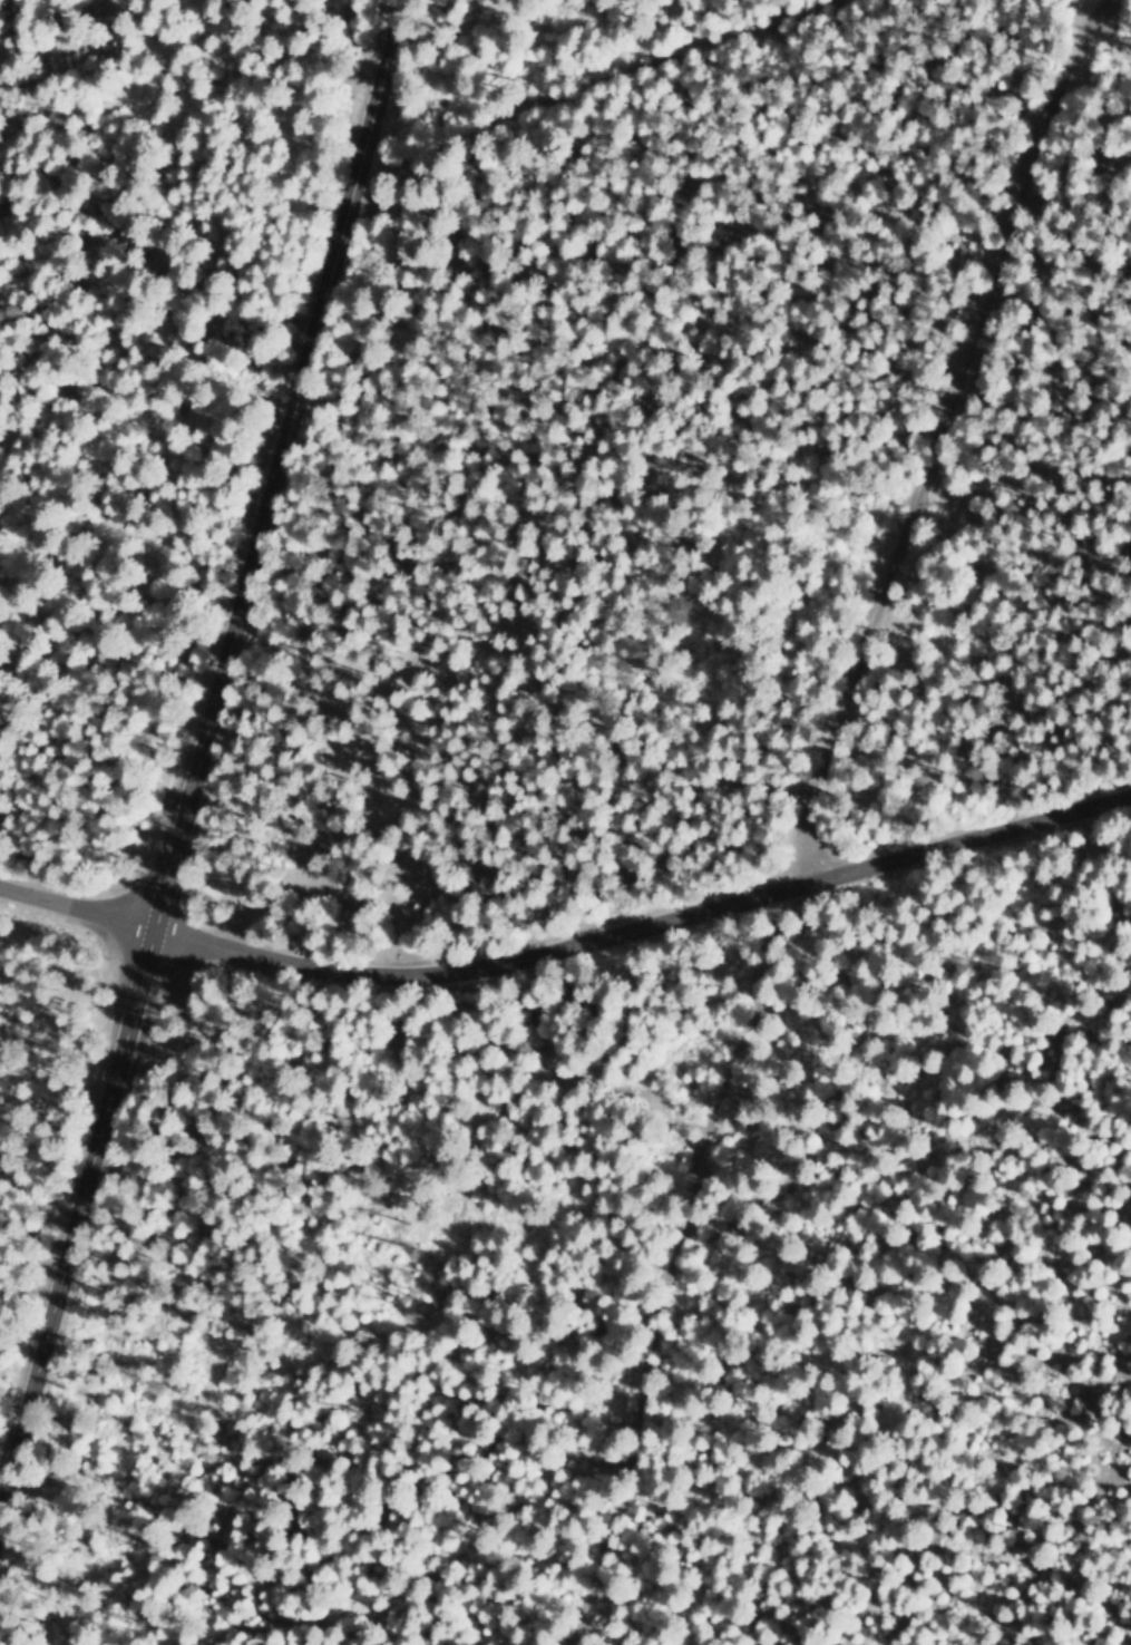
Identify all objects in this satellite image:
road: (923, 431)
road: (183, 733)
road: (646, 890)
road: (75, 904)
road: (850, 1137)
road: (939, 1452)

